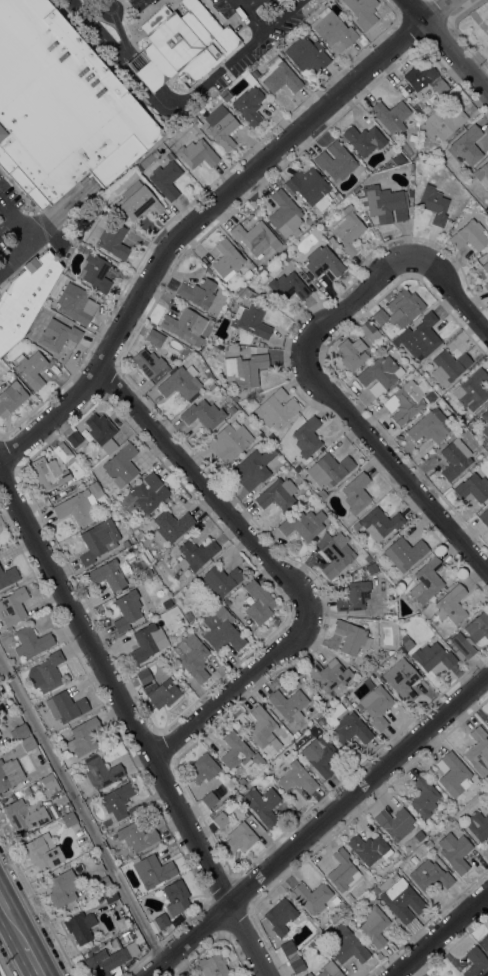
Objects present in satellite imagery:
road: (247, 4)
road: (461, 9)
road: (416, 10)
building: (362, 11)
road: (474, 15)
building: (154, 19)
road: (265, 30)
building: (333, 30)
road: (98, 33)
building: (182, 46)
building: (307, 54)
road: (456, 56)
road: (147, 71)
building: (255, 73)
building: (279, 75)
road: (212, 78)
building: (248, 78)
building: (425, 78)
building: (226, 95)
building: (249, 105)
building: (61, 106)
building: (417, 108)
building: (391, 115)
building: (442, 123)
building: (221, 126)
building: (364, 139)
building: (468, 144)
building: (197, 153)
building: (398, 159)
building: (335, 160)
building: (148, 161)
building: (362, 173)
building: (482, 174)
building: (166, 179)
building: (308, 186)
building: (337, 197)
building: (139, 203)
building: (322, 203)
building: (384, 203)
building: (434, 205)
road: (203, 211)
building: (285, 212)
building: (309, 221)
road: (6, 223)
building: (348, 230)
building: (470, 235)
road: (30, 239)
building: (256, 239)
building: (114, 240)
building: (82, 248)
building: (227, 259)
building: (323, 261)
building: (485, 266)
building: (256, 271)
building: (95, 272)
building: (486, 285)
building: (288, 286)
building: (243, 291)
road: (452, 291)
building: (198, 293)
building: (391, 294)
building: (25, 296)
building: (75, 303)
building: (404, 307)
building: (380, 316)
building: (251, 320)
building: (211, 322)
building: (185, 326)
building: (369, 330)
building: (58, 334)
building: (154, 337)
building: (419, 337)
building: (232, 348)
building: (352, 353)
building: (150, 364)
building: (449, 366)
building: (31, 369)
building: (244, 369)
building: (409, 369)
building: (206, 372)
building: (380, 374)
building: (180, 382)
building: (471, 390)
building: (11, 398)
building: (406, 401)
building: (276, 408)
road: (342, 408)
building: (232, 409)
building: (203, 414)
building: (471, 422)
building: (483, 422)
building: (429, 426)
building: (102, 432)
building: (307, 436)
building: (74, 438)
building: (271, 438)
building: (229, 442)
building: (64, 453)
building: (455, 458)
building: (121, 465)
building: (253, 468)
building: (329, 470)
building: (48, 473)
building: (473, 487)
building: (149, 493)
building: (356, 493)
building: (277, 494)
building: (321, 494)
building: (79, 504)
building: (118, 505)
building: (201, 517)
building: (484, 517)
building: (380, 522)
building: (303, 524)
building: (171, 525)
building: (134, 526)
building: (356, 526)
building: (139, 534)
building: (98, 540)
building: (125, 543)
building: (335, 552)
building: (405, 552)
building: (196, 554)
building: (367, 559)
road: (277, 569)
building: (149, 571)
building: (108, 575)
building: (8, 576)
building: (220, 580)
building: (427, 580)
building: (353, 596)
building: (258, 602)
building: (167, 603)
building: (448, 605)
building: (13, 607)
building: (127, 609)
building: (189, 615)
building: (222, 629)
building: (470, 636)
building: (351, 637)
building: (31, 642)
building: (406, 642)
building: (146, 643)
building: (192, 656)
building: (433, 656)
building: (46, 672)
building: (376, 672)
building: (144, 676)
building: (329, 676)
building: (401, 679)
building: (161, 692)
building: (289, 704)
building: (377, 705)
building: (65, 706)
building: (336, 710)
road: (134, 725)
building: (262, 728)
building: (351, 728)
building: (21, 730)
building: (83, 736)
building: (28, 743)
building: (235, 751)
building: (478, 751)
building: (320, 755)
building: (257, 759)
building: (277, 759)
building: (203, 768)
building: (236, 769)
building: (266, 770)
building: (101, 771)
building: (10, 773)
building: (453, 774)
building: (293, 775)
building: (486, 778)
building: (242, 781)
building: (48, 785)
building: (26, 791)
building: (226, 792)
building: (18, 793)
building: (424, 797)
building: (209, 799)
building: (7, 800)
building: (117, 801)
building: (262, 802)
building: (52, 811)
building: (25, 814)
road: (84, 818)
building: (219, 818)
building: (69, 819)
building: (395, 823)
building: (478, 825)
road: (316, 826)
building: (136, 836)
building: (240, 837)
building: (419, 837)
building: (368, 848)
building: (42, 851)
building: (454, 852)
building: (68, 865)
building: (343, 870)
building: (153, 871)
building: (430, 875)
building: (103, 884)
building: (63, 888)
building: (374, 890)
building: (177, 895)
building: (110, 896)
building: (312, 897)
building: (99, 898)
building: (400, 898)
building: (335, 900)
building: (280, 916)
building: (164, 920)
road: (13, 922)
building: (121, 922)
building: (80, 926)
building: (374, 926)
road: (438, 933)
building: (485, 940)
building: (347, 945)
building: (96, 947)
building: (287, 947)
building: (379, 955)
building: (109, 959)
road: (33, 961)
building: (476, 963)
building: (297, 964)
building: (213, 965)
building: (329, 970)
building: (191, 974)
building: (308, 974)

